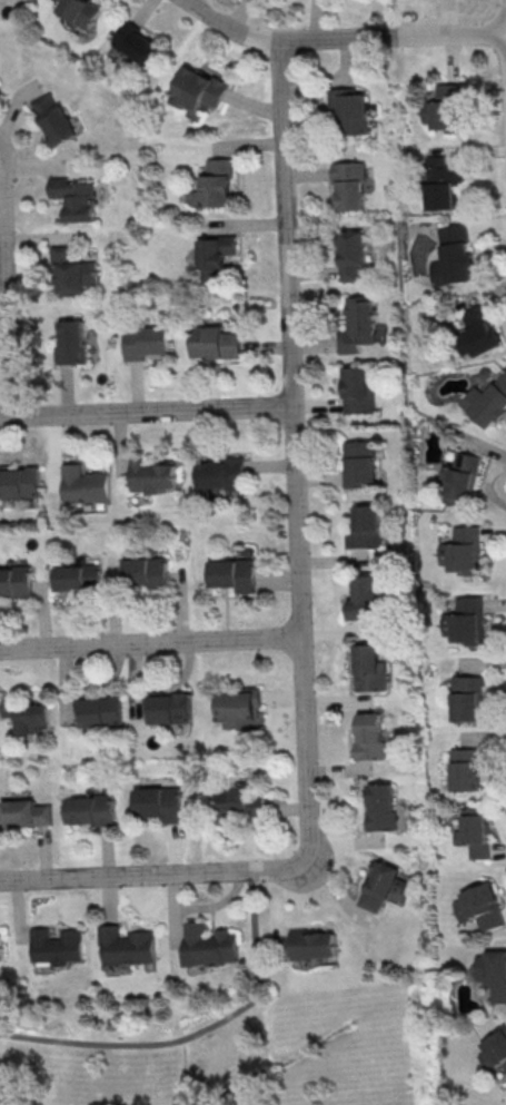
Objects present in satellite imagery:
building: (81, 11)
road: (344, 36)
building: (136, 47)
building: (197, 90)
building: (446, 108)
building: (351, 109)
building: (53, 122)
road: (0, 158)
building: (217, 182)
building: (443, 182)
building: (349, 184)
building: (73, 197)
building: (351, 255)
building: (216, 256)
building: (454, 256)
building: (71, 273)
road: (3, 316)
building: (360, 325)
building: (479, 332)
building: (146, 342)
building: (216, 342)
building: (71, 346)
building: (358, 391)
building: (488, 402)
road: (146, 411)
road: (294, 448)
building: (360, 462)
building: (153, 476)
building: (224, 476)
building: (460, 478)
building: (19, 484)
building: (83, 486)
building: (366, 526)
building: (463, 550)
building: (147, 571)
building: (235, 574)
building: (79, 578)
building: (16, 581)
building: (365, 598)
building: (466, 621)
road: (151, 641)
building: (370, 668)
building: (468, 698)
building: (240, 706)
building: (171, 708)
building: (102, 711)
building: (28, 714)
building: (371, 736)
building: (466, 769)
building: (241, 801)
building: (160, 802)
building: (383, 806)
building: (92, 809)
building: (27, 811)
building: (475, 831)
road: (152, 874)
building: (383, 886)
building: (482, 906)
building: (1, 944)
building: (312, 944)
building: (210, 945)
building: (54, 946)
building: (126, 946)
building: (493, 973)
road: (196, 1033)
park: (211, 1046)
building: (494, 1050)

